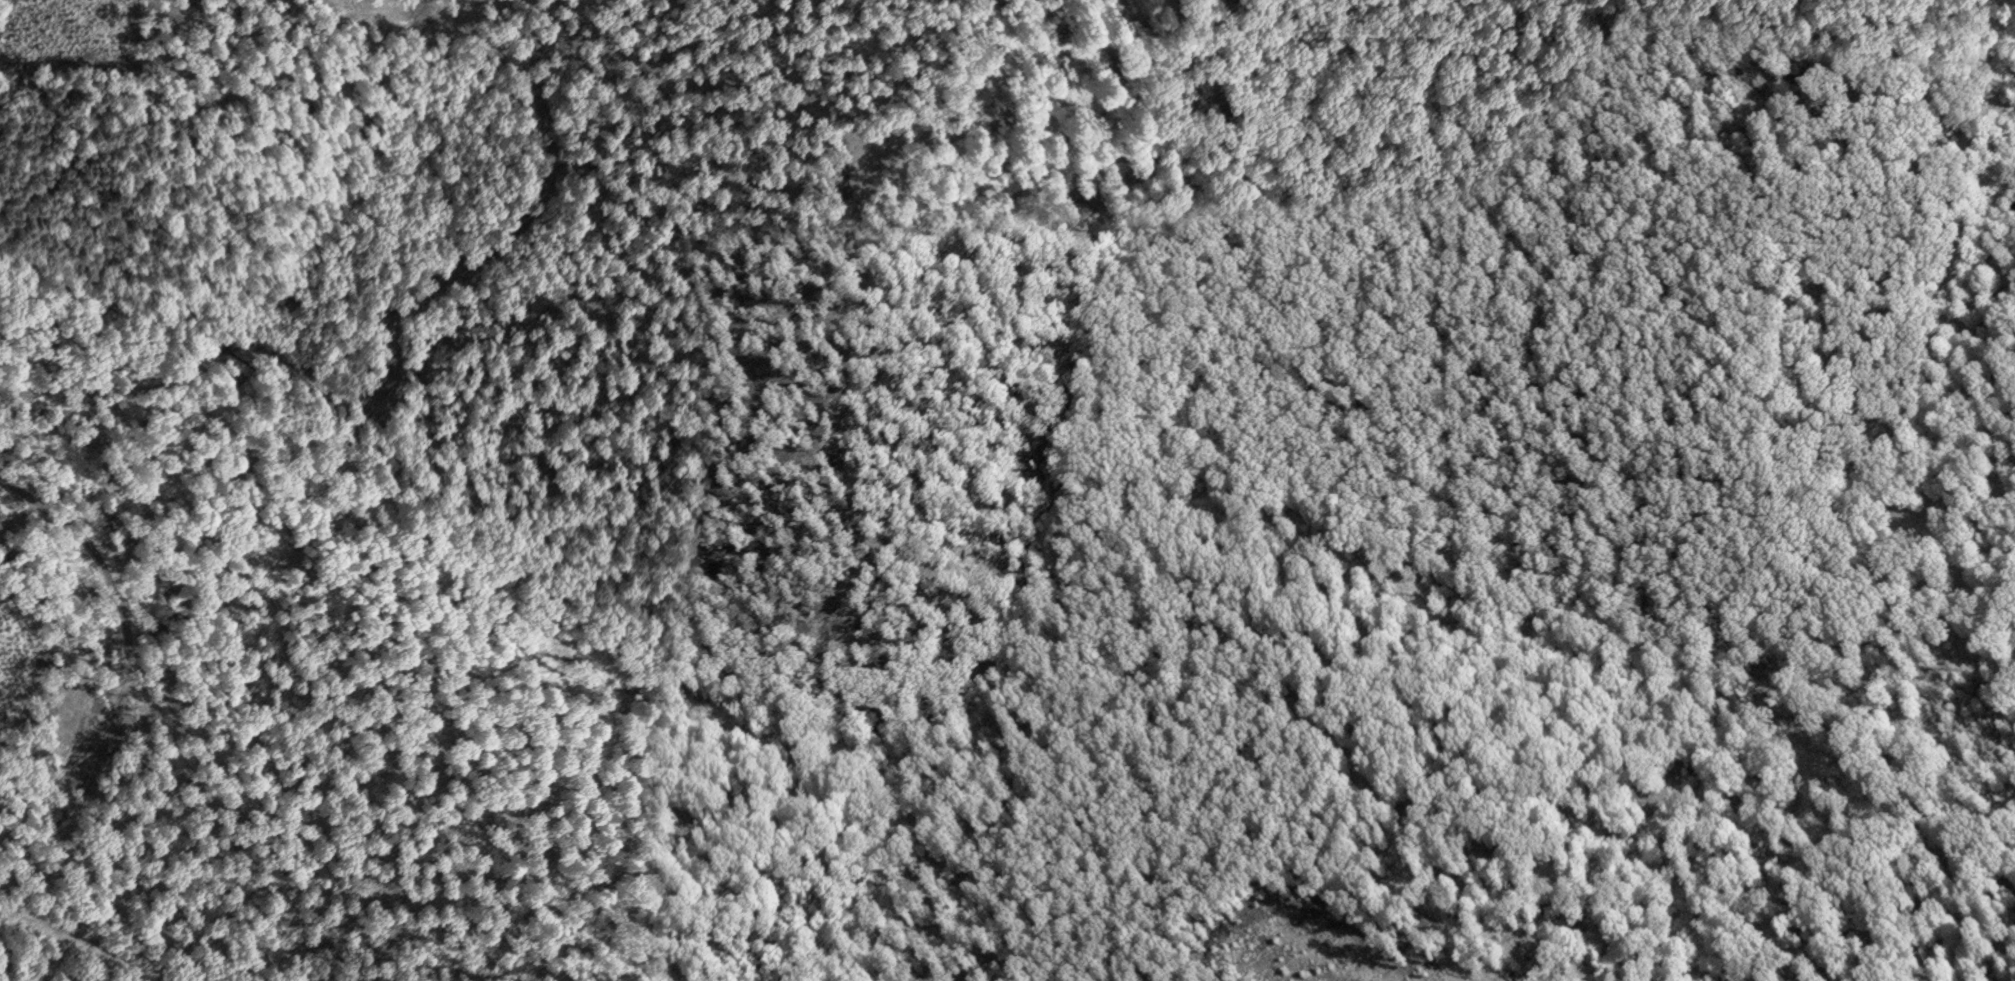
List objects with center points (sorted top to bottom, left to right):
road: (1956, 887)

